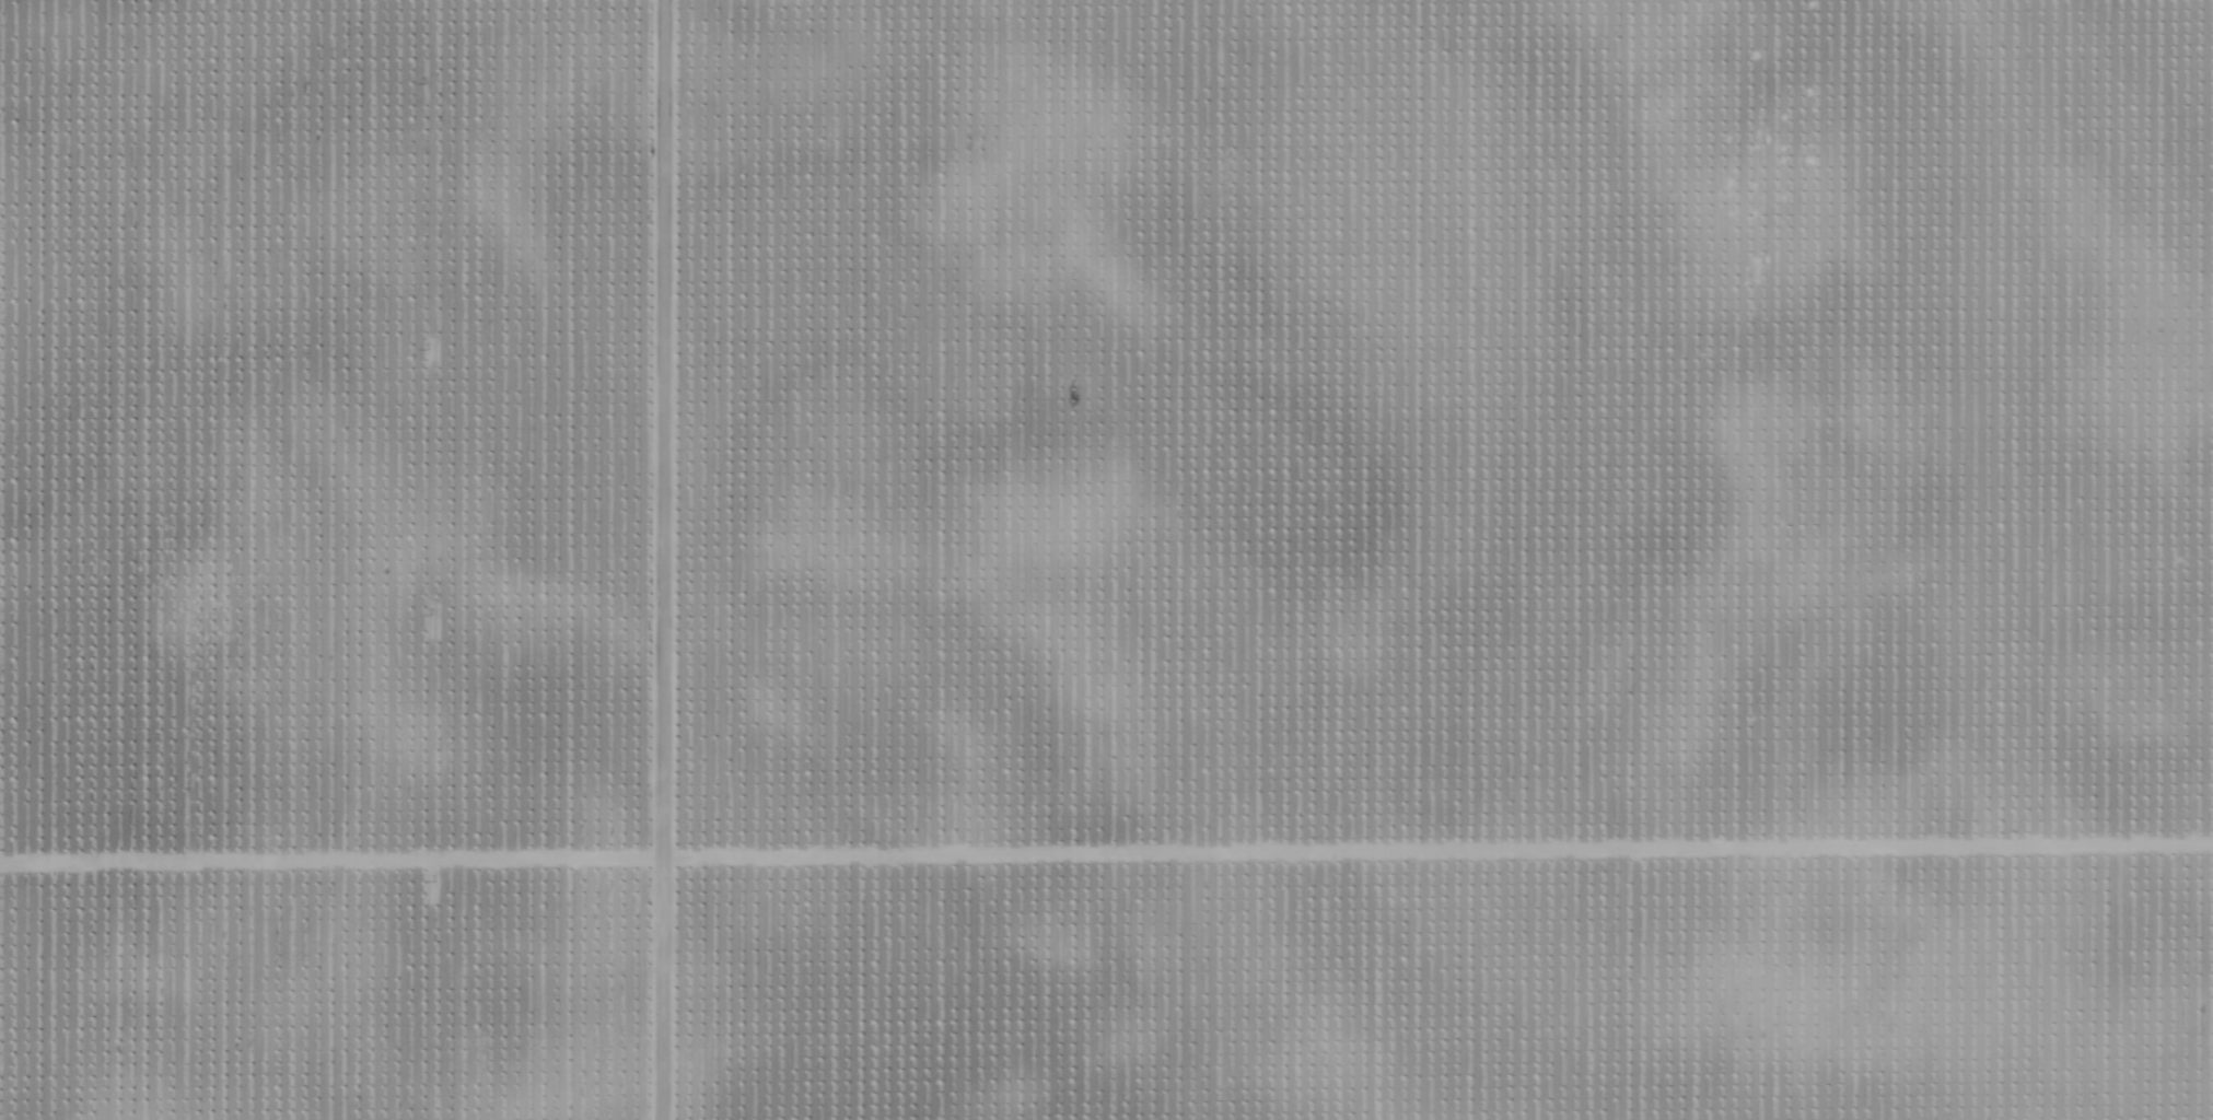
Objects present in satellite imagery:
crop: (1106, 560)

